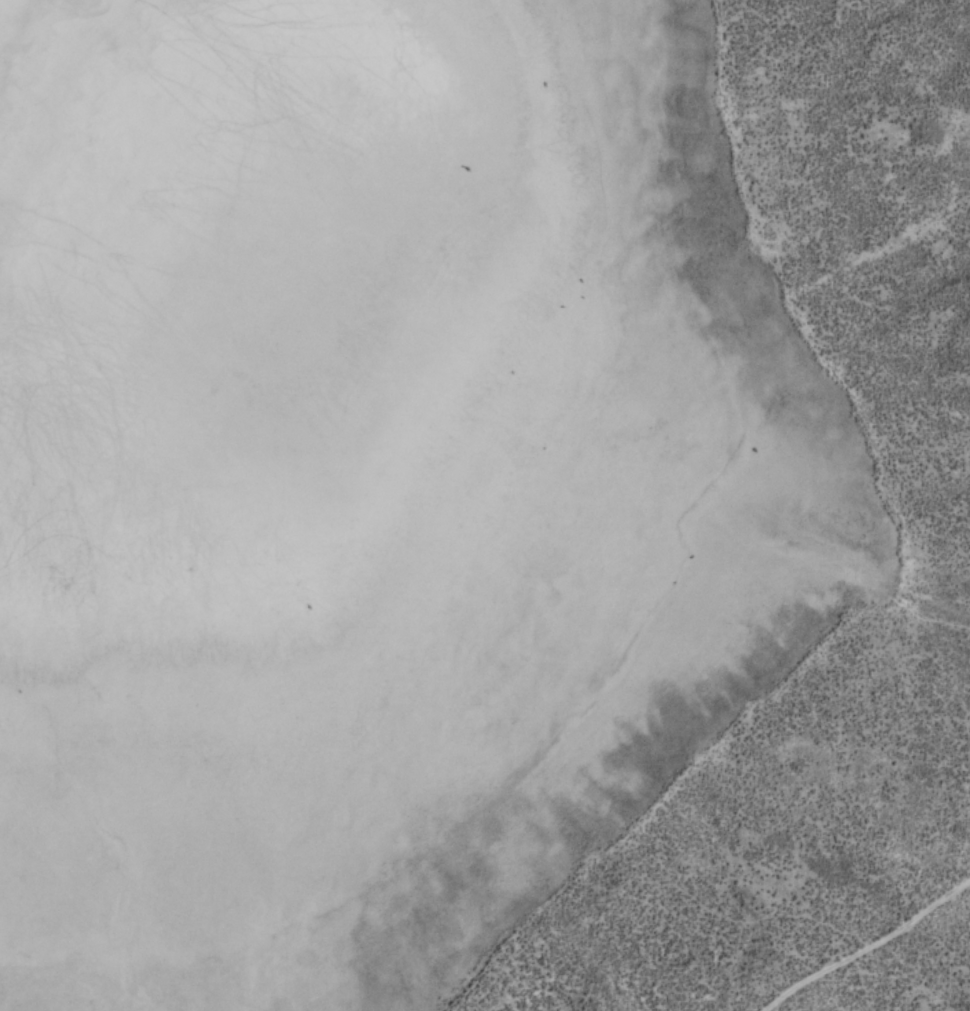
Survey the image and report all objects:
road: (867, 949)

